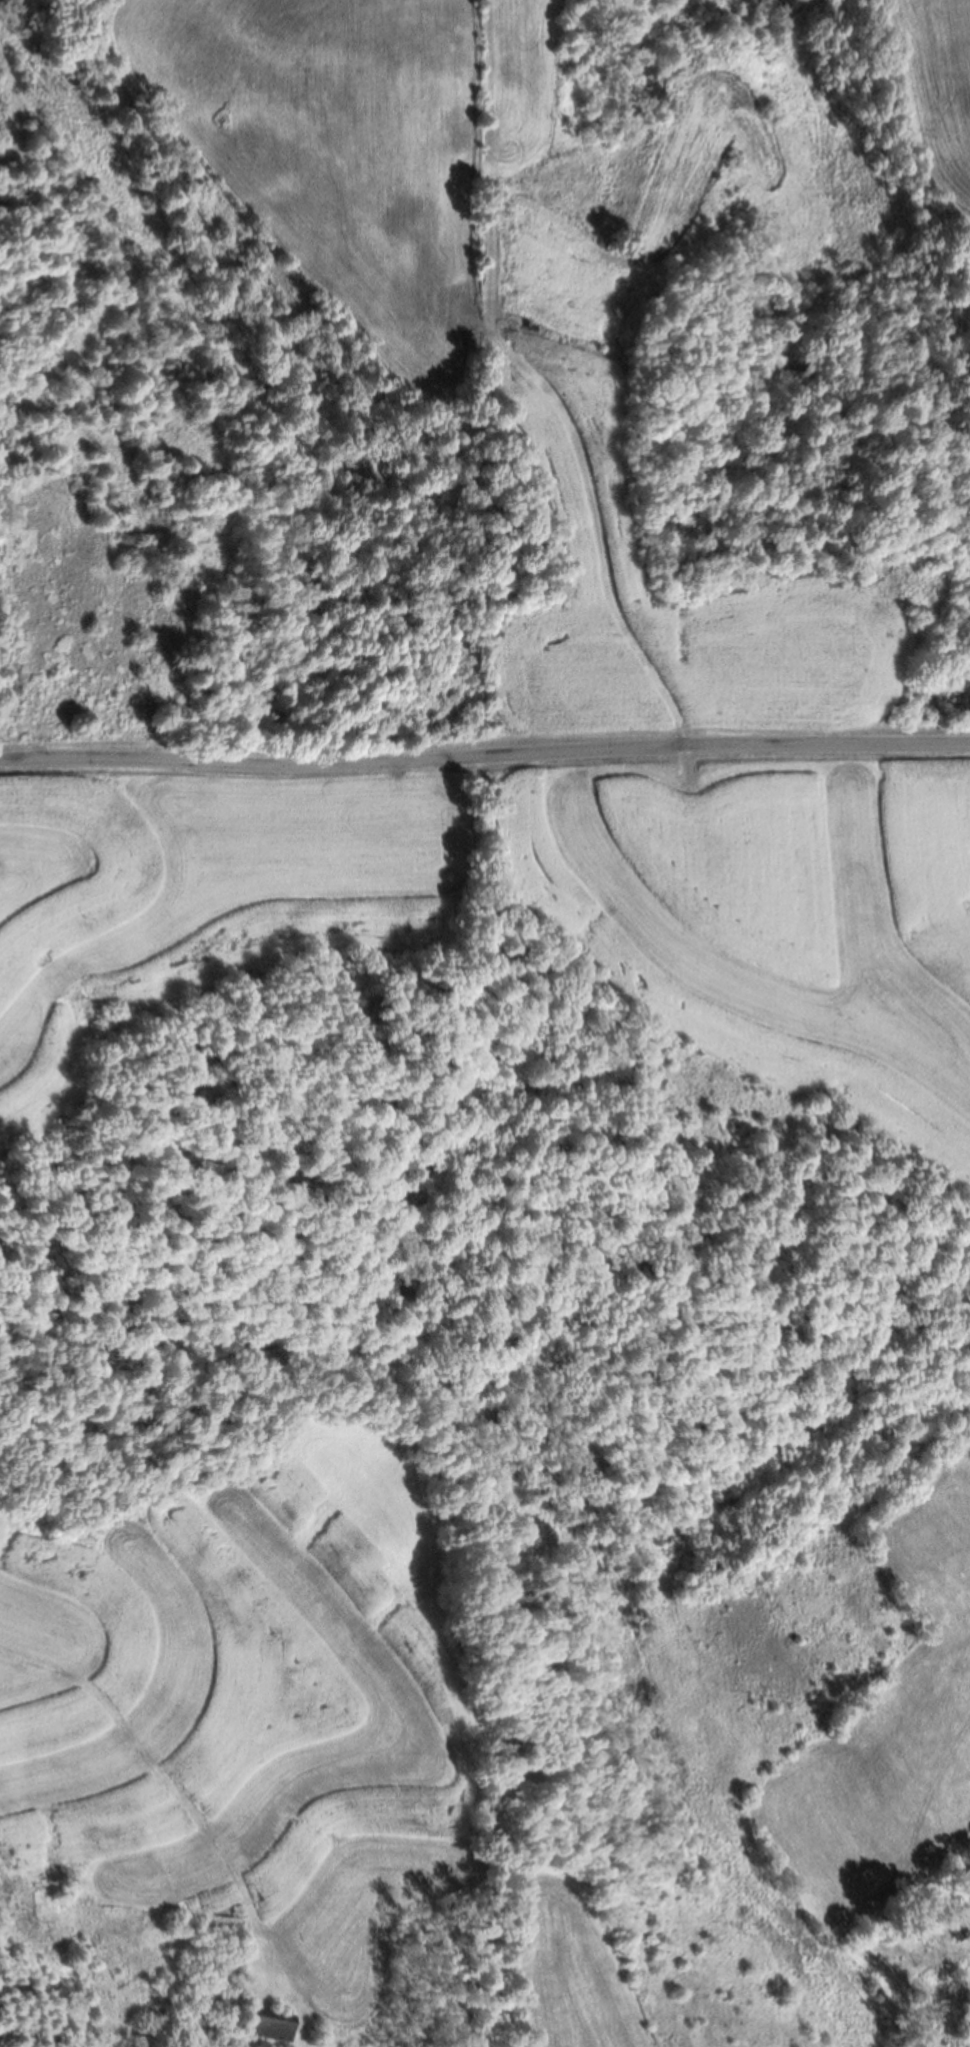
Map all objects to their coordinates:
road: (484, 757)
building: (958, 1926)
building: (265, 2023)

